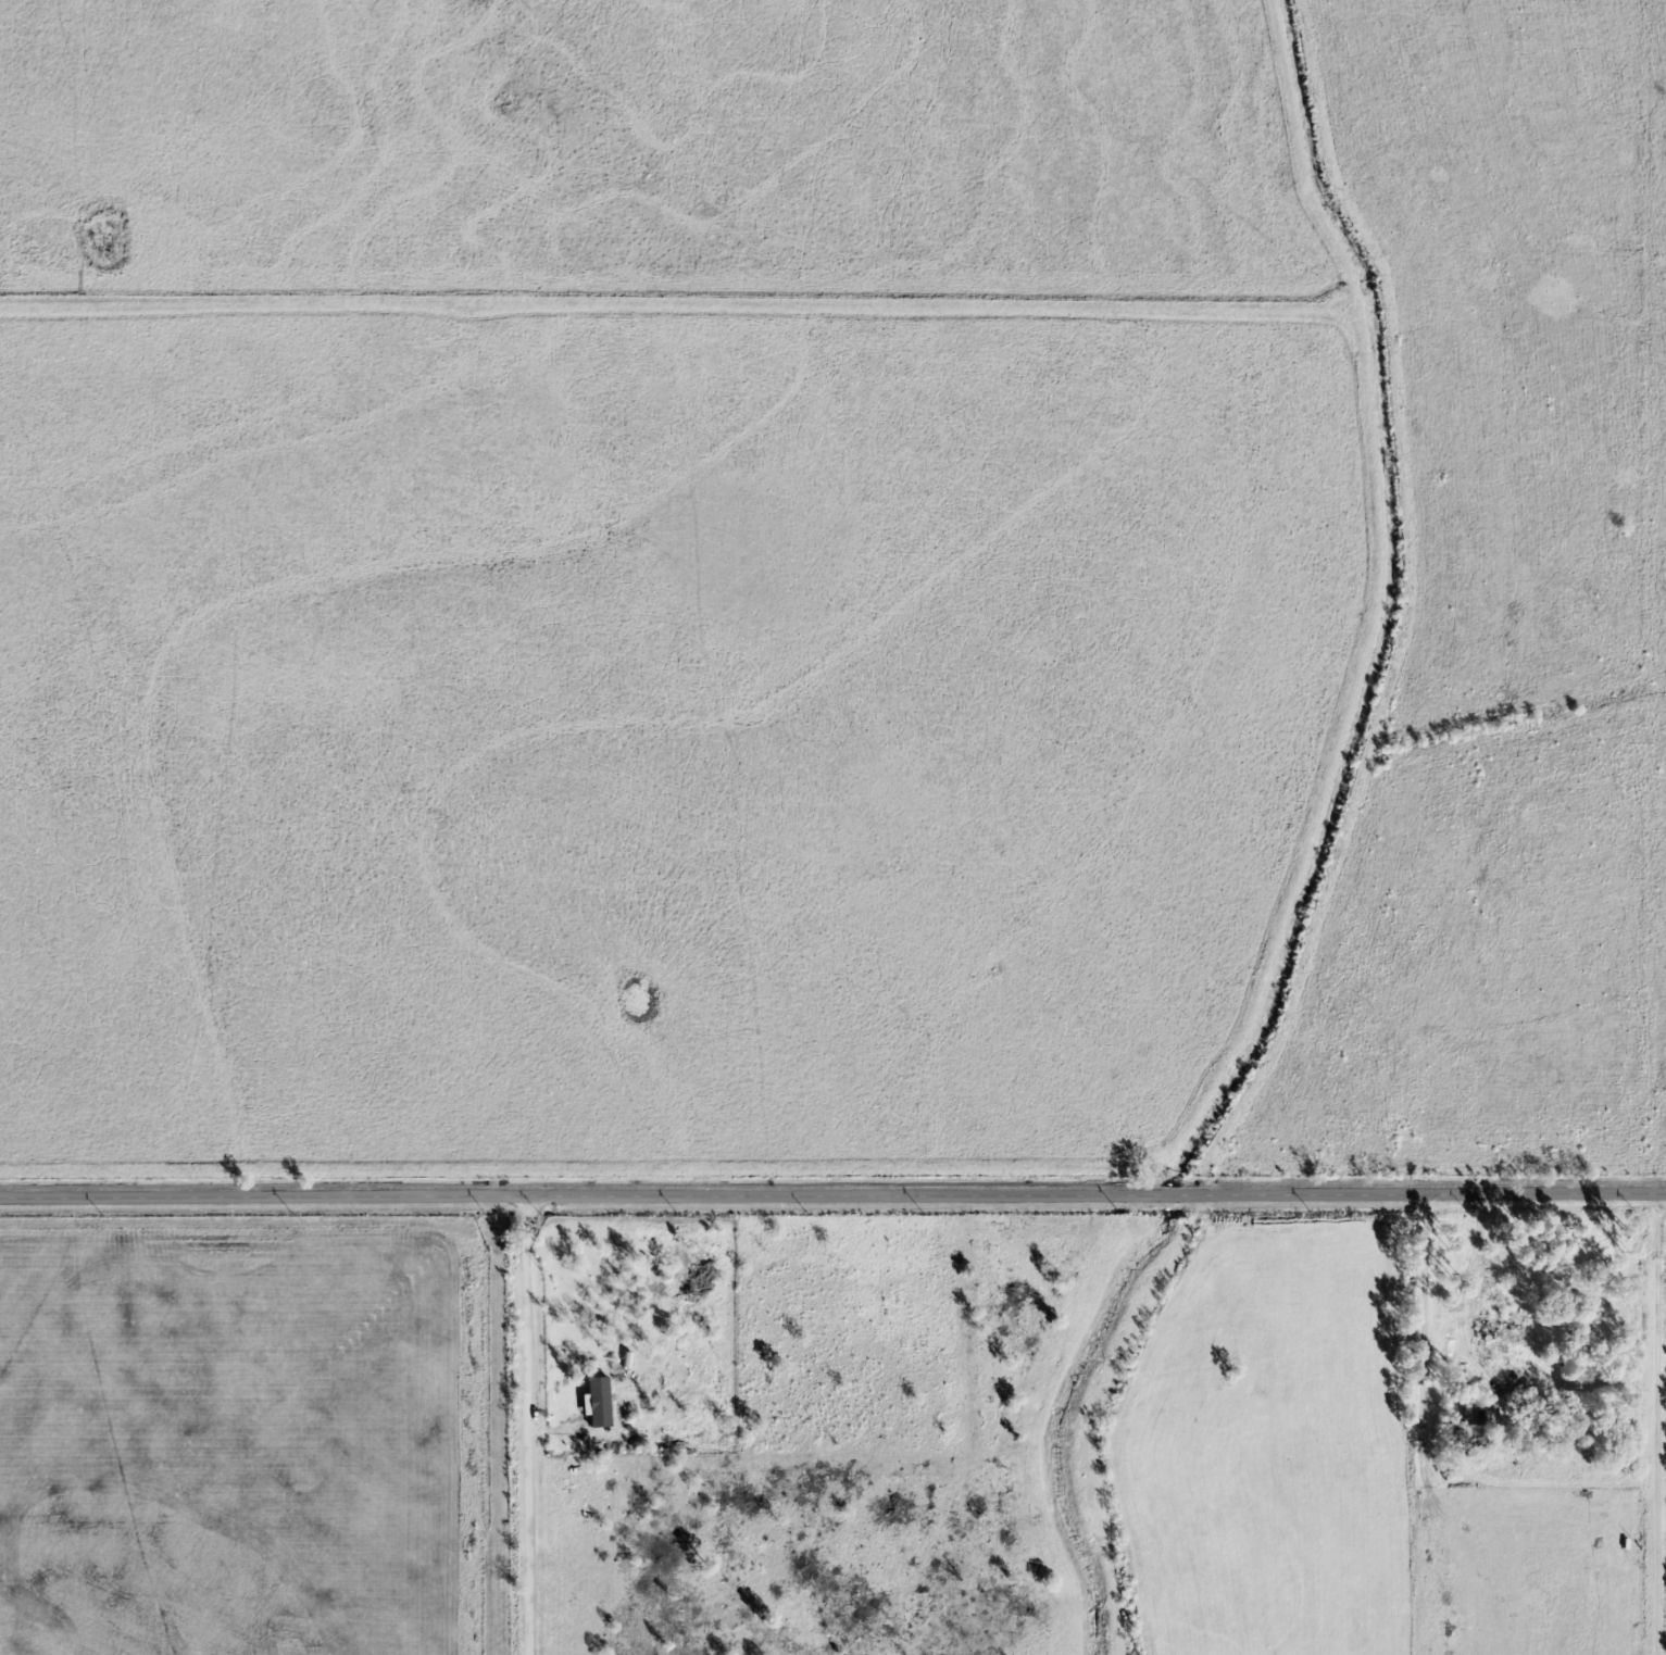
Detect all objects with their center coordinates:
road: (832, 1196)
building: (596, 1400)
road: (524, 1426)
road: (1658, 1426)

